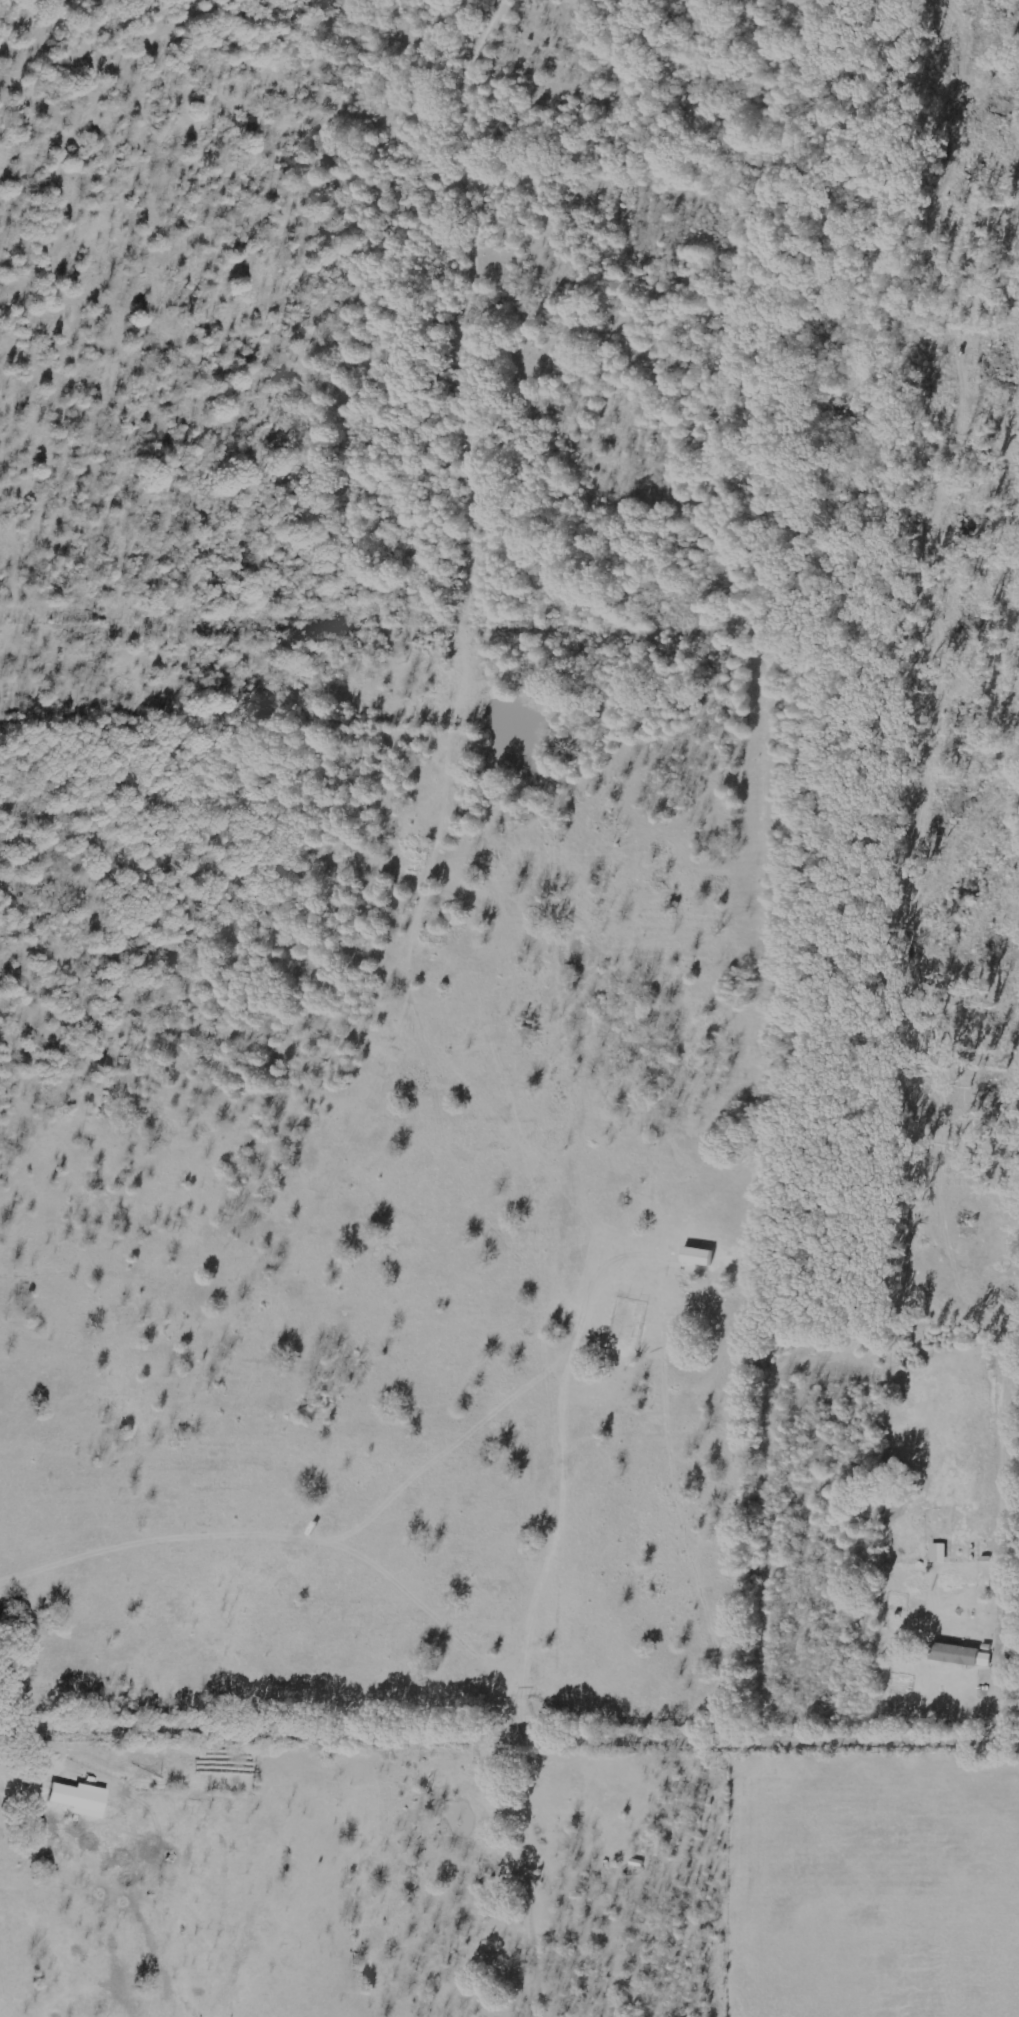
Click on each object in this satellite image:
building: (938, 1552)
building: (953, 1653)
building: (984, 1659)
road: (509, 1744)

